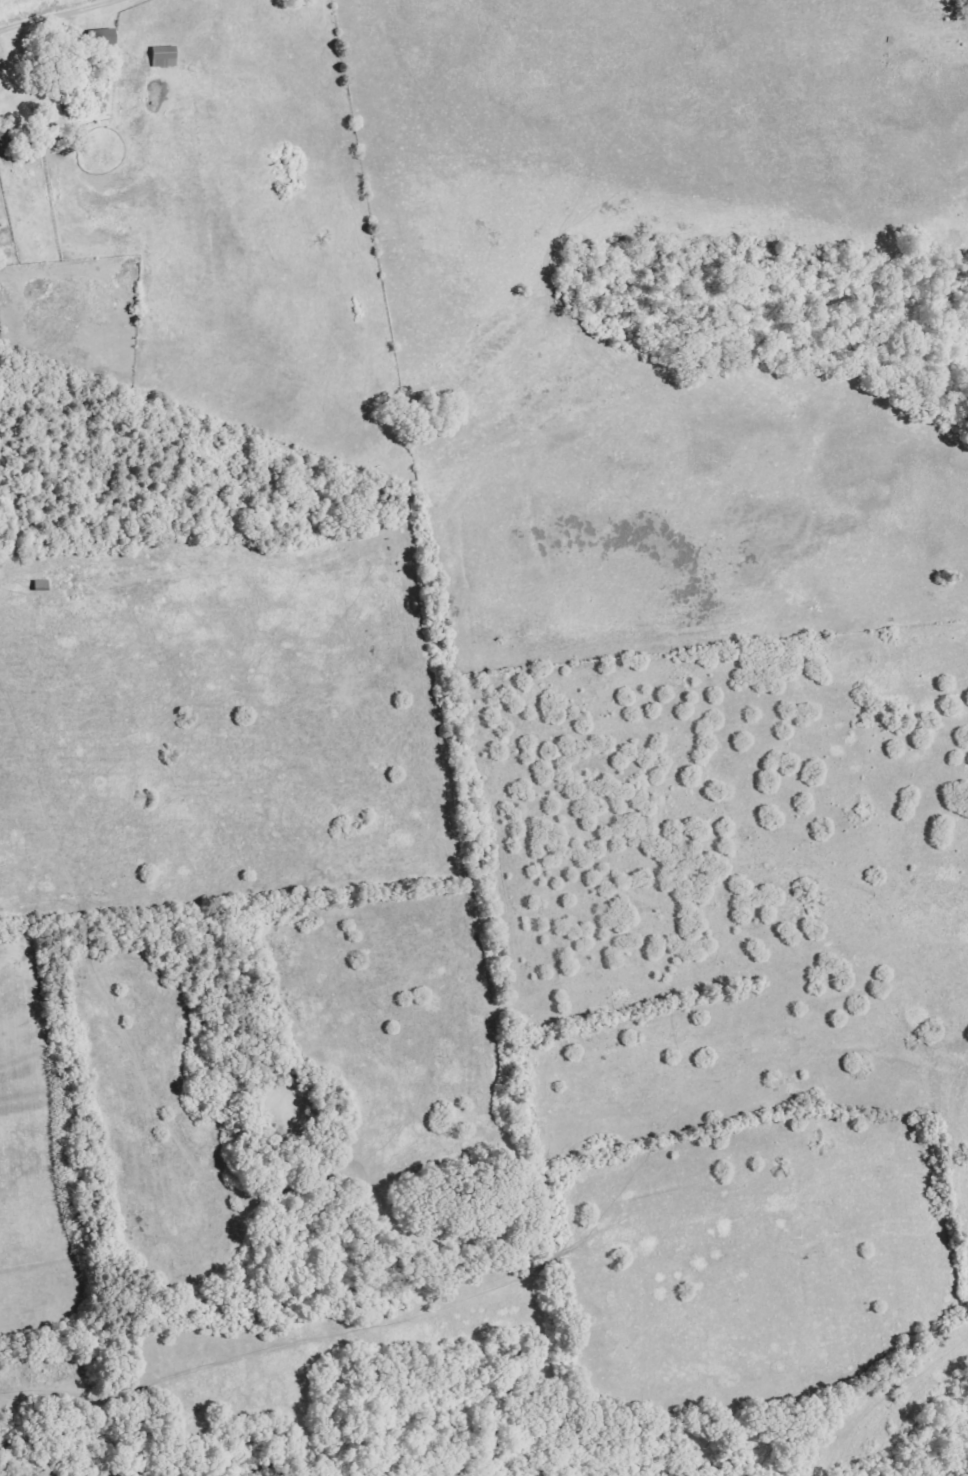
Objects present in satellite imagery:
road: (46, 11)
building: (2, 137)

